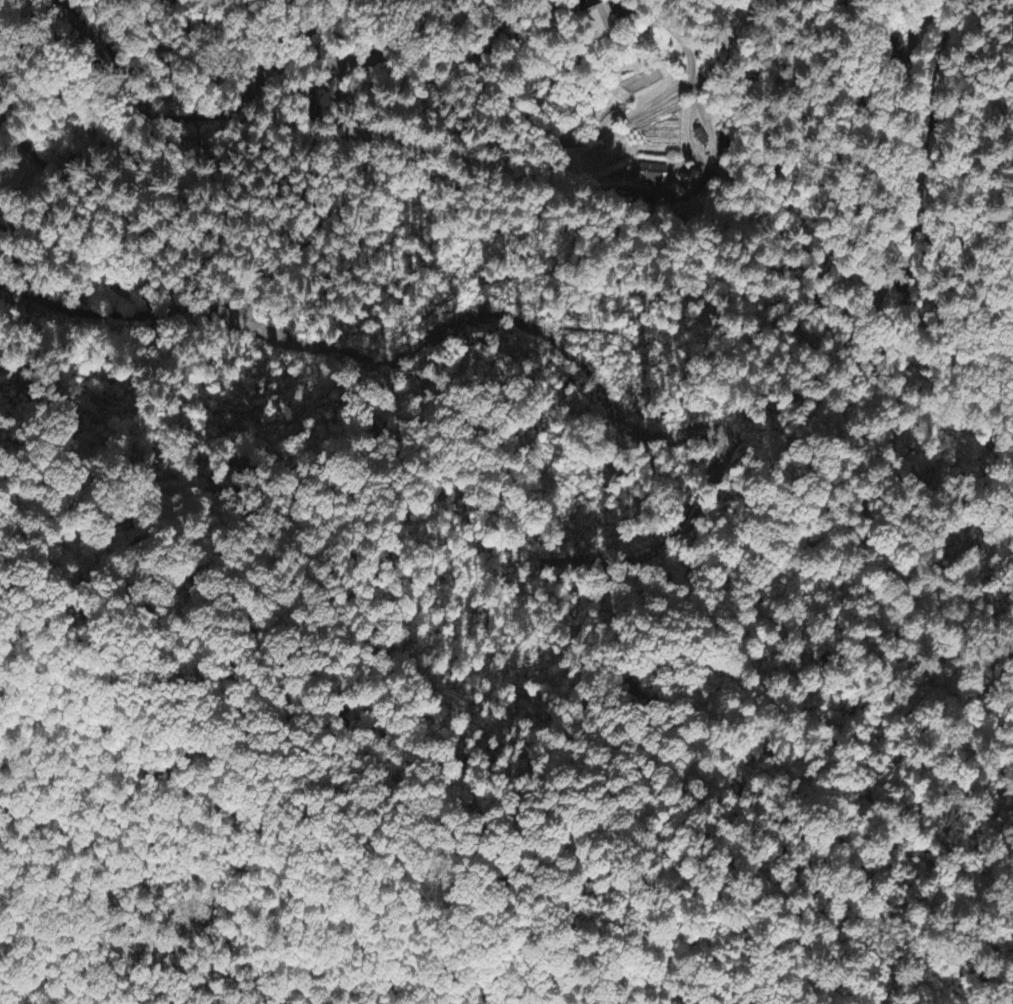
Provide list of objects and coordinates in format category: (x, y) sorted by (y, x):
building: (603, 21)
road: (461, 77)
road: (211, 121)
road: (926, 126)
building: (653, 176)
road: (123, 218)
road: (129, 314)
road: (1006, 331)

